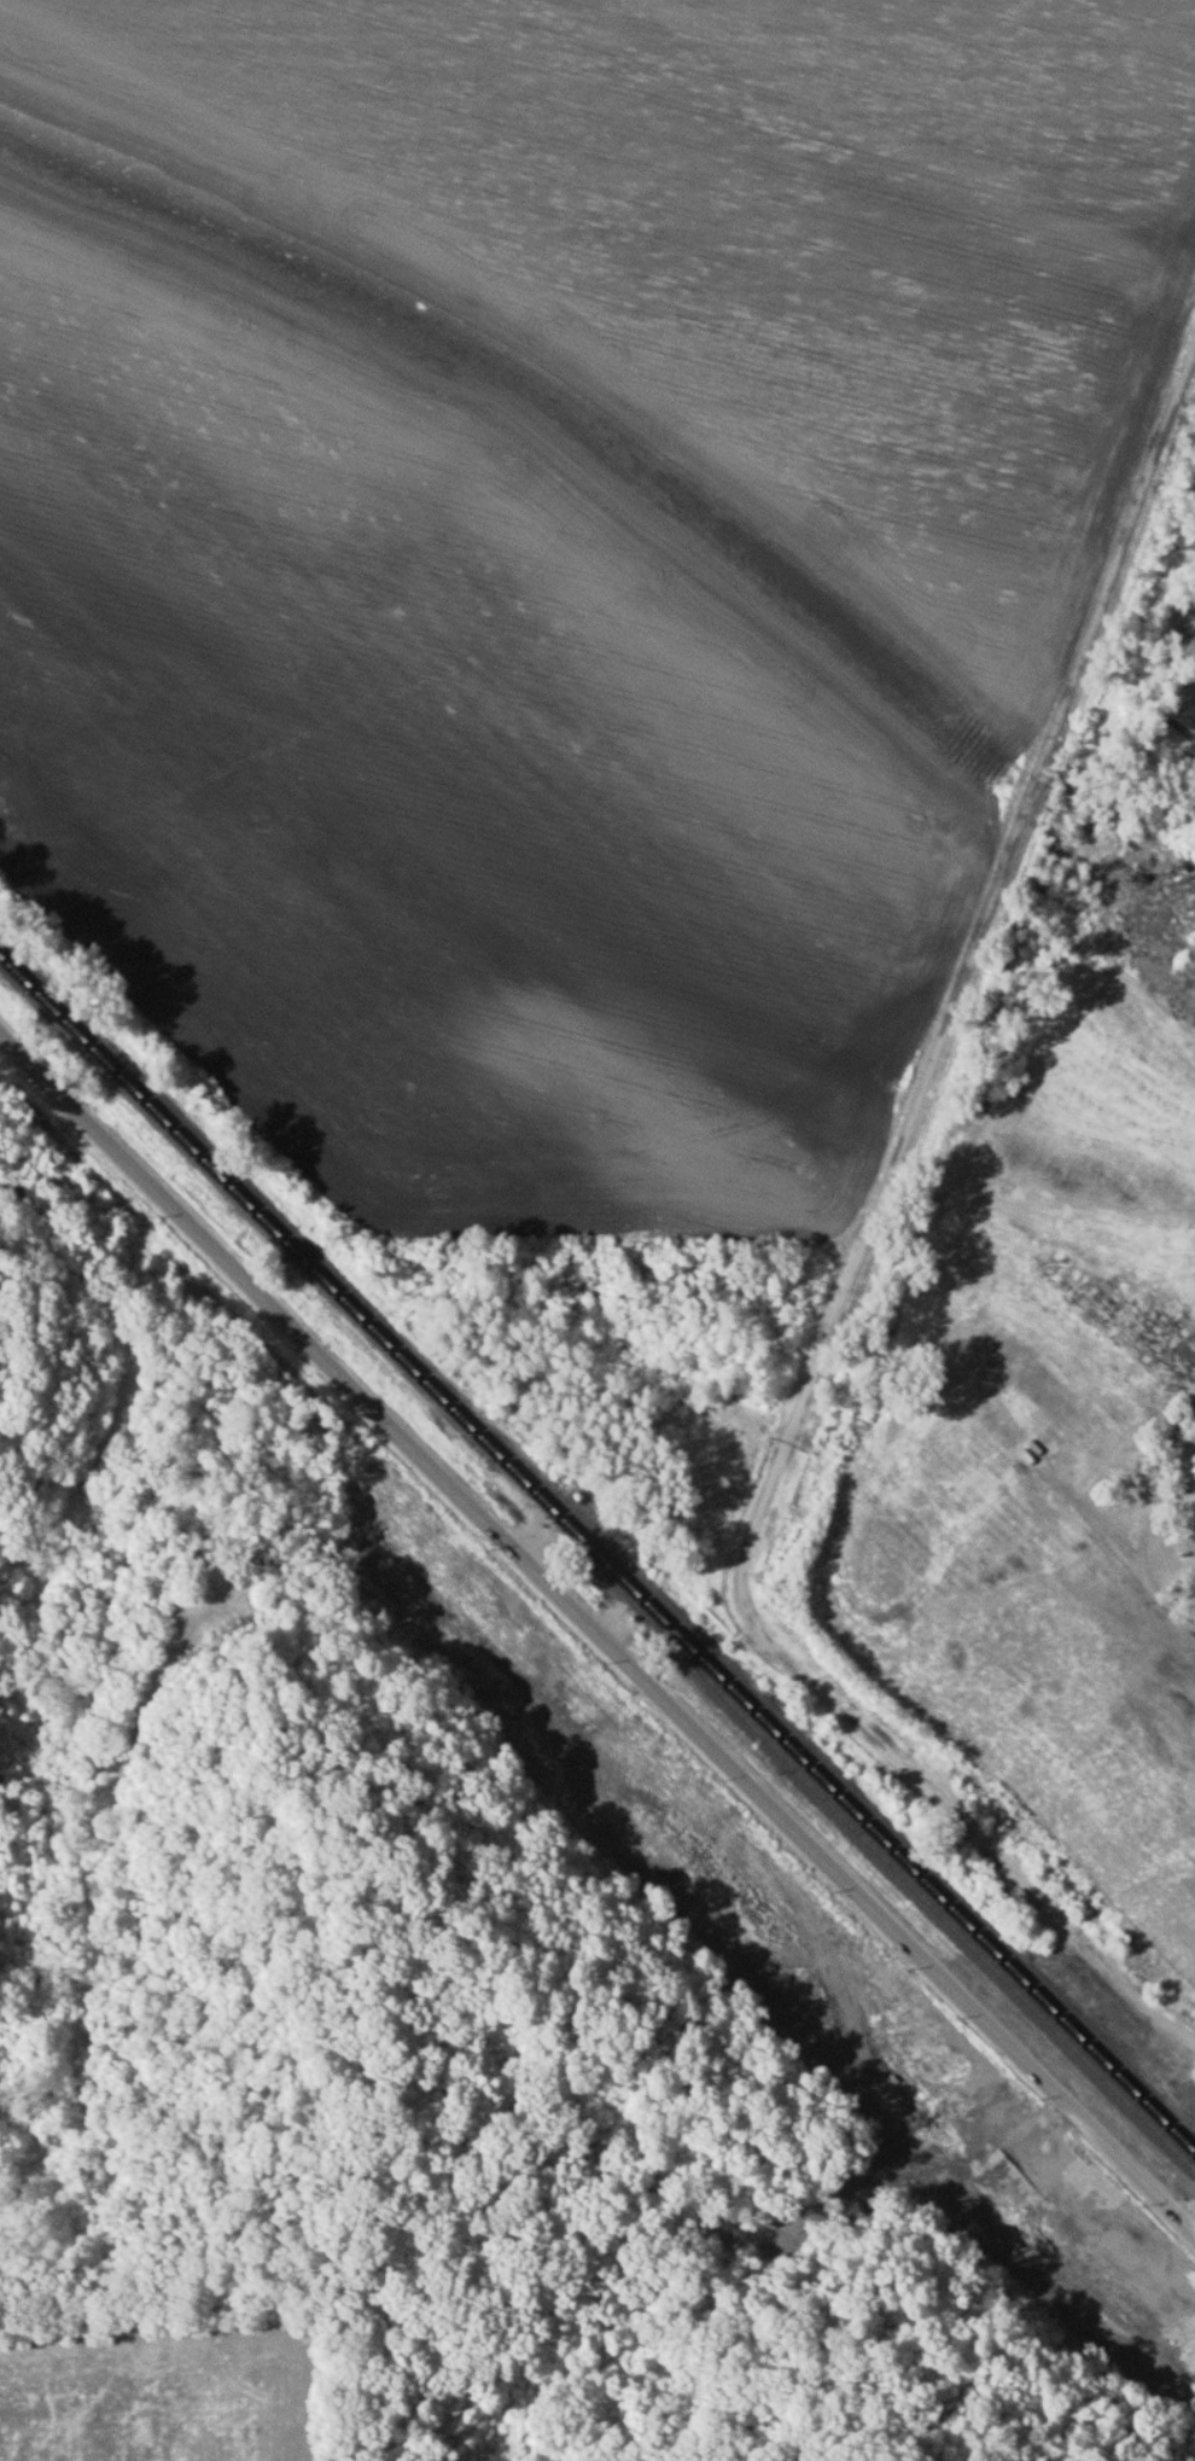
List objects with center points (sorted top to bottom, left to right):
crop: (555, 559)
road: (851, 1269)
railway: (589, 1530)
railway: (596, 1558)
road: (597, 1630)
railway: (897, 1874)
road: (1190, 2219)
building: (1141, 2251)
crop: (152, 2389)

